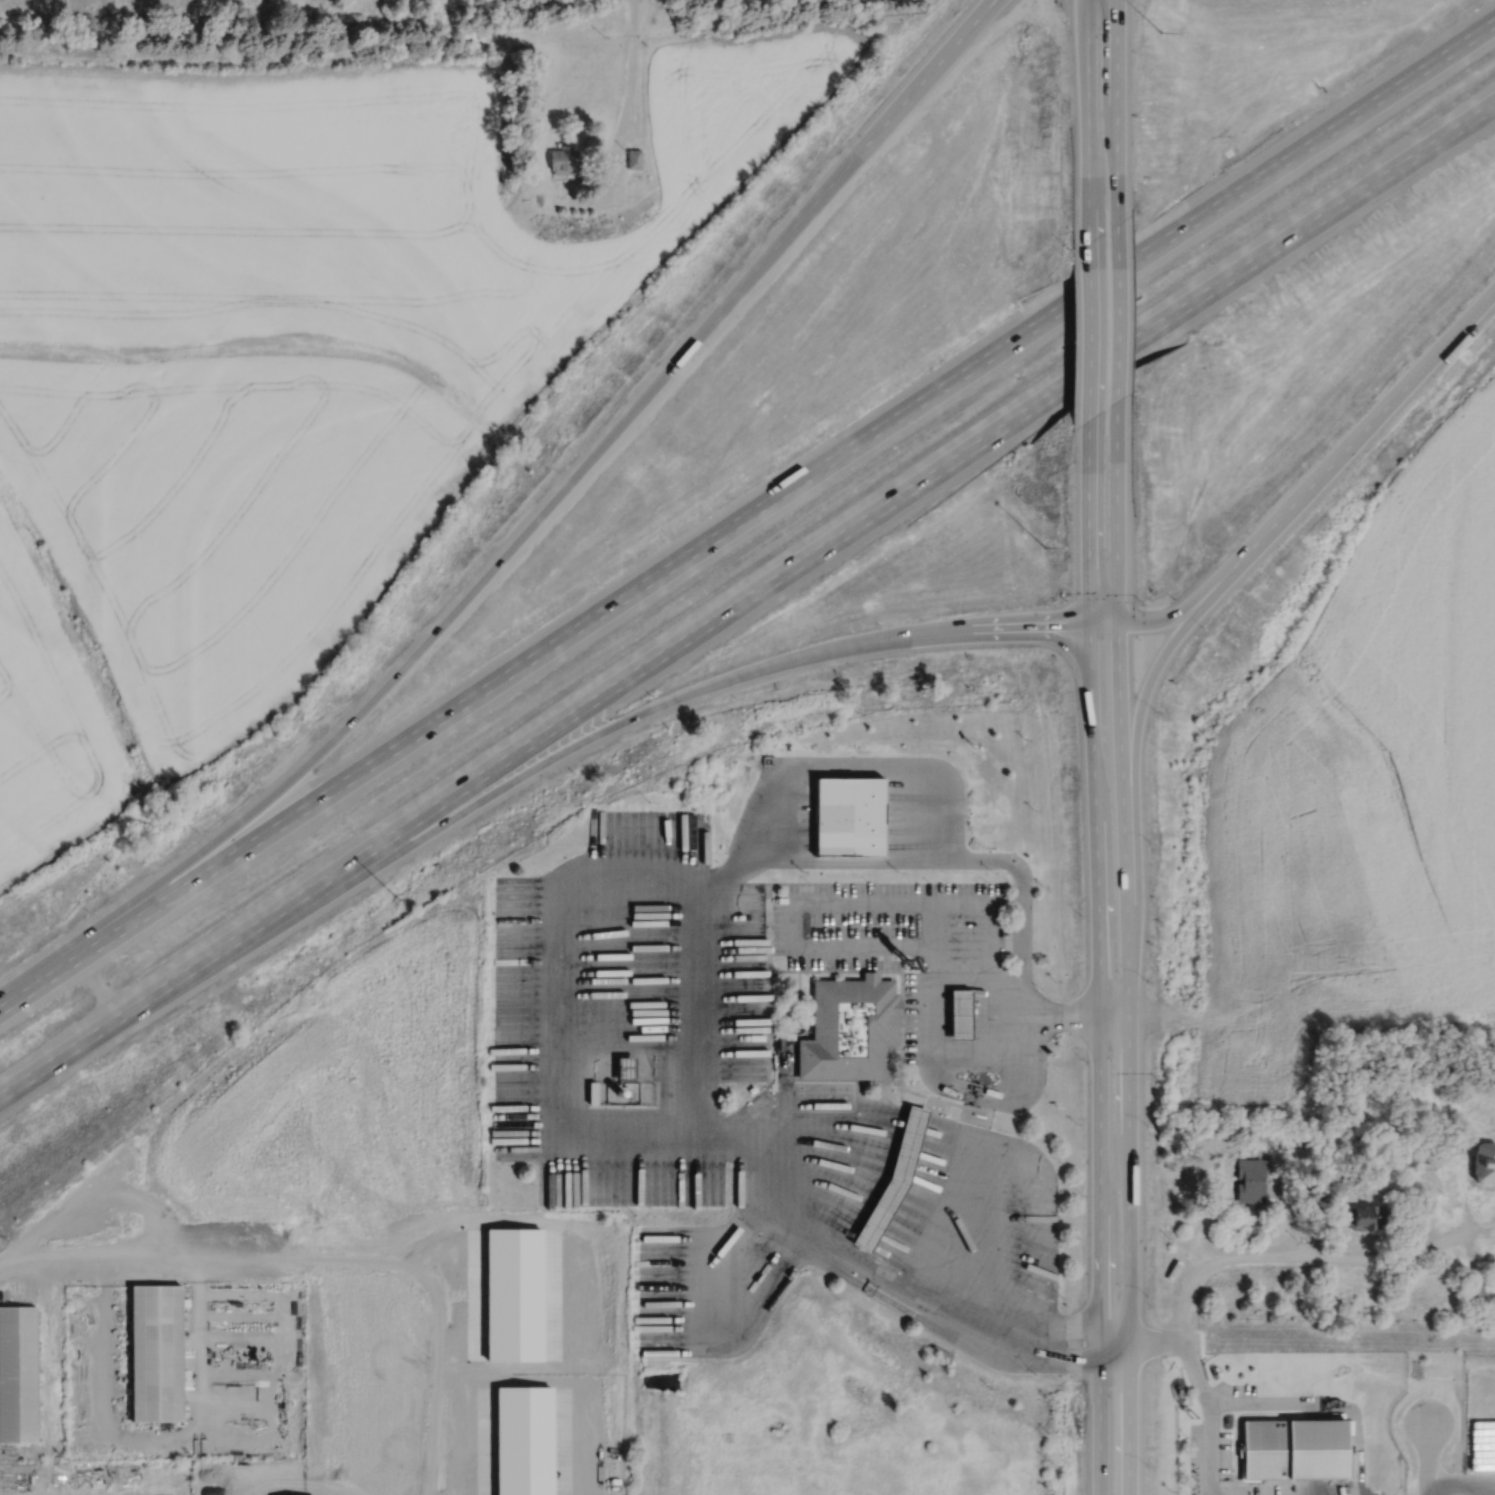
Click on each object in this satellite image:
street lamp: (1159, 27)
road: (627, 103)
road: (1116, 108)
road: (1088, 117)
road: (863, 148)
building: (635, 157)
building: (564, 158)
road: (1115, 327)
road: (1459, 327)
road: (700, 334)
road: (1089, 336)
road: (1316, 479)
road: (746, 515)
road: (1116, 528)
road: (1089, 529)
street lamp: (1053, 555)
road: (747, 599)
traffic signals: (1089, 620)
traffic signals: (1117, 620)
road: (1153, 620)
road: (935, 627)
road: (1034, 632)
road: (358, 715)
road: (1136, 723)
road: (862, 763)
building: (850, 815)
road: (444, 820)
street lamp: (390, 891)
road: (820, 900)
parking lot: (861, 923)
road: (930, 923)
parking lot: (987, 934)
road: (959, 947)
road: (703, 971)
road: (101, 986)
road: (560, 998)
building: (960, 1014)
road: (987, 1015)
road: (1006, 1016)
road: (1063, 1016)
road: (1130, 1016)
building: (849, 1029)
parking lot: (703, 1030)
road: (980, 1054)
road: (1100, 1057)
road: (1129, 1057)
road: (933, 1065)
road: (821, 1148)
building: (1485, 1162)
building: (894, 1176)
building: (1251, 1180)
road: (91, 1192)
building: (1367, 1217)
road: (980, 1225)
road: (324, 1257)
road: (1292, 1258)
road: (728, 1283)
building: (1474, 1295)
road: (1064, 1333)
road: (1115, 1342)
building: (940, 1351)
road: (1064, 1351)
building: (156, 1353)
building: (18, 1373)
road: (1208, 1403)
building: (1294, 1449)
road: (1428, 1457)
road: (1462, 1482)

